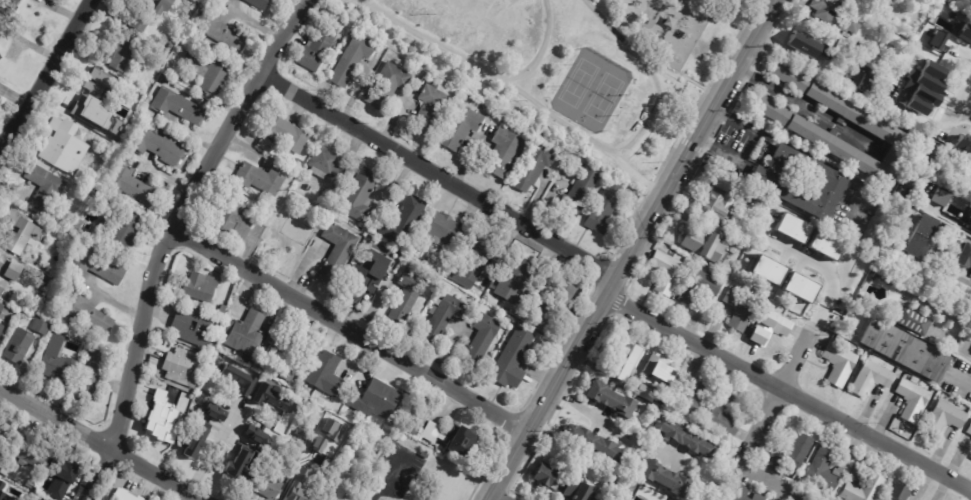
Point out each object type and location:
building: (16, 1)
building: (844, 1)
building: (949, 1)
building: (1, 2)
building: (260, 4)
road: (370, 4)
building: (150, 13)
building: (837, 16)
road: (254, 24)
building: (222, 30)
road: (285, 33)
building: (964, 33)
building: (1, 36)
building: (937, 39)
building: (321, 45)
building: (170, 46)
building: (805, 46)
building: (0, 49)
building: (123, 49)
road: (541, 50)
building: (166, 54)
building: (855, 57)
building: (355, 59)
park: (565, 67)
building: (210, 73)
road: (651, 75)
road: (44, 78)
building: (860, 78)
building: (166, 79)
building: (842, 83)
building: (390, 85)
building: (921, 86)
road: (514, 87)
park: (591, 89)
road: (962, 100)
building: (97, 102)
building: (179, 106)
road: (805, 108)
building: (432, 110)
building: (793, 123)
building: (461, 129)
building: (288, 134)
building: (963, 145)
building: (67, 146)
road: (746, 146)
building: (160, 147)
building: (504, 152)
building: (300, 163)
building: (330, 163)
building: (536, 167)
road: (439, 174)
building: (262, 179)
building: (720, 182)
building: (798, 183)
building: (134, 186)
building: (47, 187)
building: (361, 194)
building: (580, 194)
building: (940, 195)
building: (716, 208)
building: (312, 209)
building: (605, 209)
building: (235, 219)
building: (967, 220)
building: (406, 221)
building: (80, 224)
road: (954, 225)
building: (792, 228)
building: (123, 230)
building: (447, 231)
building: (22, 233)
building: (270, 235)
building: (919, 238)
building: (702, 243)
building: (824, 245)
road: (631, 248)
building: (338, 252)
building: (964, 256)
building: (474, 264)
building: (99, 266)
building: (767, 269)
road: (832, 270)
building: (52, 271)
building: (10, 272)
building: (663, 272)
building: (369, 274)
road: (155, 275)
road: (953, 275)
building: (870, 276)
building: (516, 280)
building: (202, 287)
building: (800, 287)
building: (697, 288)
building: (762, 293)
building: (409, 296)
building: (795, 302)
building: (39, 309)
building: (738, 309)
building: (2, 310)
building: (224, 310)
building: (555, 310)
building: (88, 313)
building: (445, 318)
building: (912, 318)
building: (830, 319)
building: (43, 327)
building: (195, 327)
building: (767, 327)
building: (2, 329)
building: (59, 332)
building: (246, 334)
road: (350, 335)
building: (484, 340)
building: (20, 346)
building: (901, 346)
building: (286, 354)
building: (625, 357)
building: (515, 360)
building: (837, 364)
building: (655, 366)
building: (59, 367)
building: (186, 368)
building: (326, 374)
building: (91, 377)
building: (868, 378)
building: (238, 379)
road: (961, 382)
road: (779, 386)
building: (645, 392)
road: (785, 393)
building: (271, 399)
building: (692, 399)
building: (377, 400)
building: (608, 400)
building: (910, 400)
building: (220, 409)
building: (163, 411)
building: (723, 414)
building: (320, 418)
building: (941, 419)
road: (612, 423)
building: (415, 428)
building: (285, 429)
building: (968, 429)
building: (6, 438)
building: (456, 439)
building: (681, 439)
building: (196, 440)
building: (249, 442)
building: (592, 442)
road: (100, 445)
road: (212, 449)
building: (791, 452)
building: (300, 453)
building: (427, 454)
building: (35, 456)
building: (970, 457)
building: (566, 459)
building: (237, 465)
building: (0, 466)
building: (63, 470)
building: (822, 470)
building: (541, 478)
building: (662, 478)
road: (384, 479)
road: (774, 483)
building: (554, 484)
building: (30, 485)
building: (269, 488)
building: (575, 490)
building: (862, 490)
building: (297, 492)
building: (50, 493)
building: (740, 493)
building: (896, 493)
building: (128, 495)
building: (28, 496)
building: (35, 497)
building: (757, 497)
building: (656, 498)
building: (43, 499)
building: (314, 499)
building: (908, 499)

